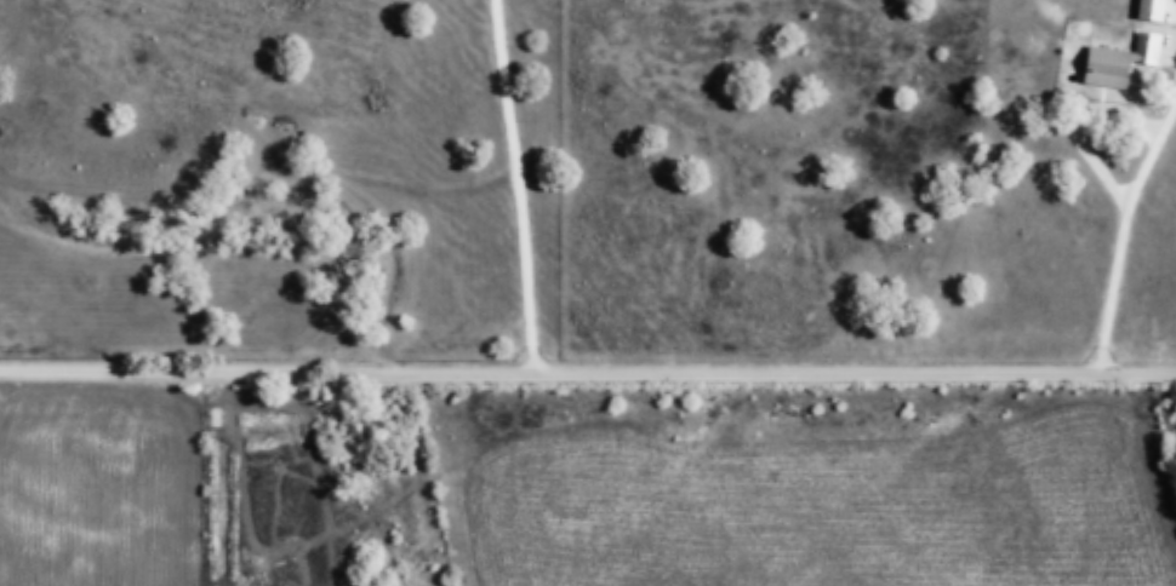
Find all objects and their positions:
building: (1154, 10)
building: (1121, 63)
road: (587, 368)
road: (209, 477)

